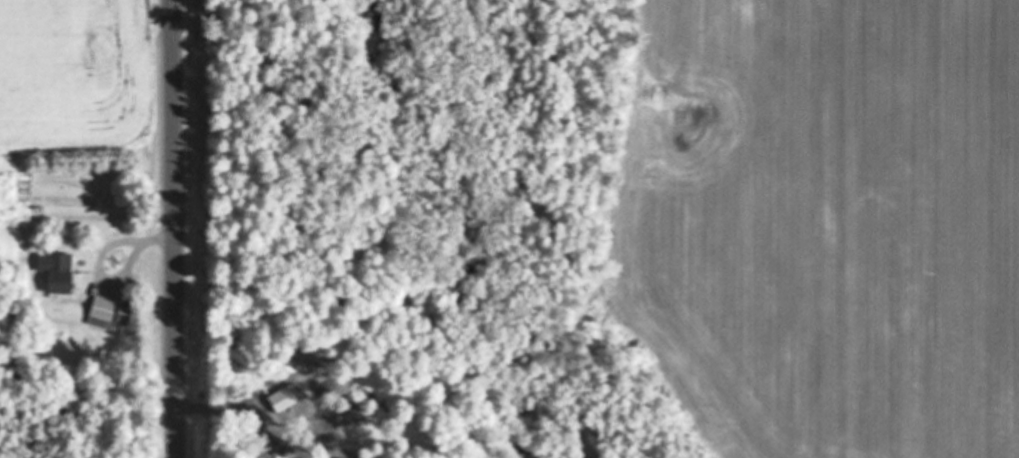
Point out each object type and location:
road: (174, 229)
building: (61, 274)
building: (112, 312)
building: (280, 401)

